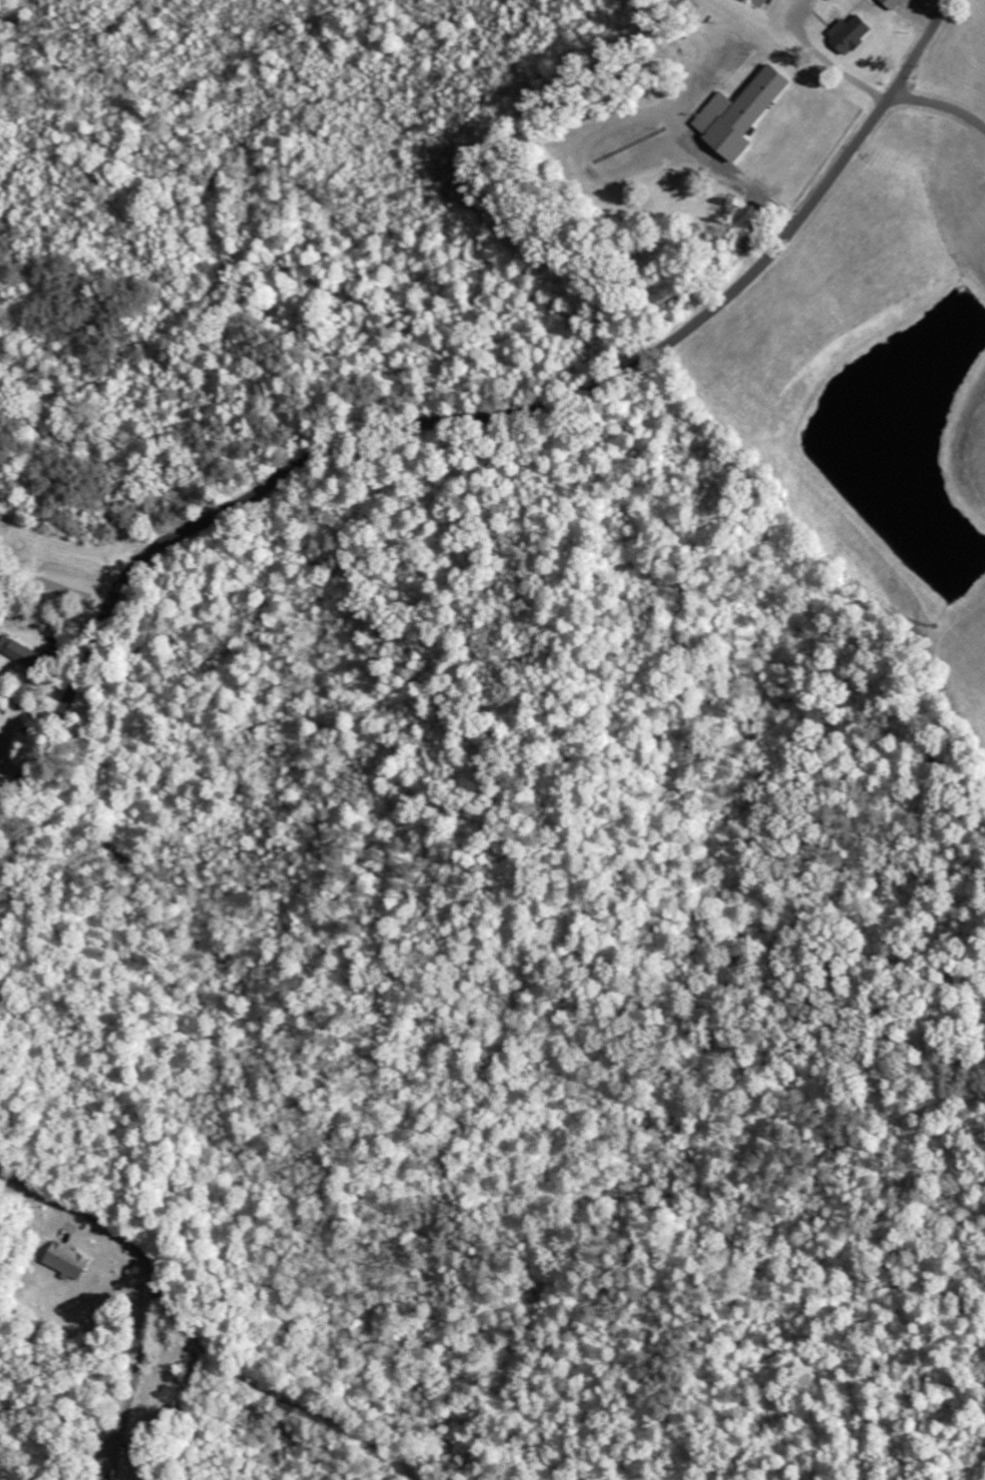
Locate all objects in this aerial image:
building: (898, 3)
building: (855, 33)
road: (940, 105)
building: (746, 113)
road: (474, 420)
building: (24, 653)
building: (73, 1261)
road: (156, 1283)

